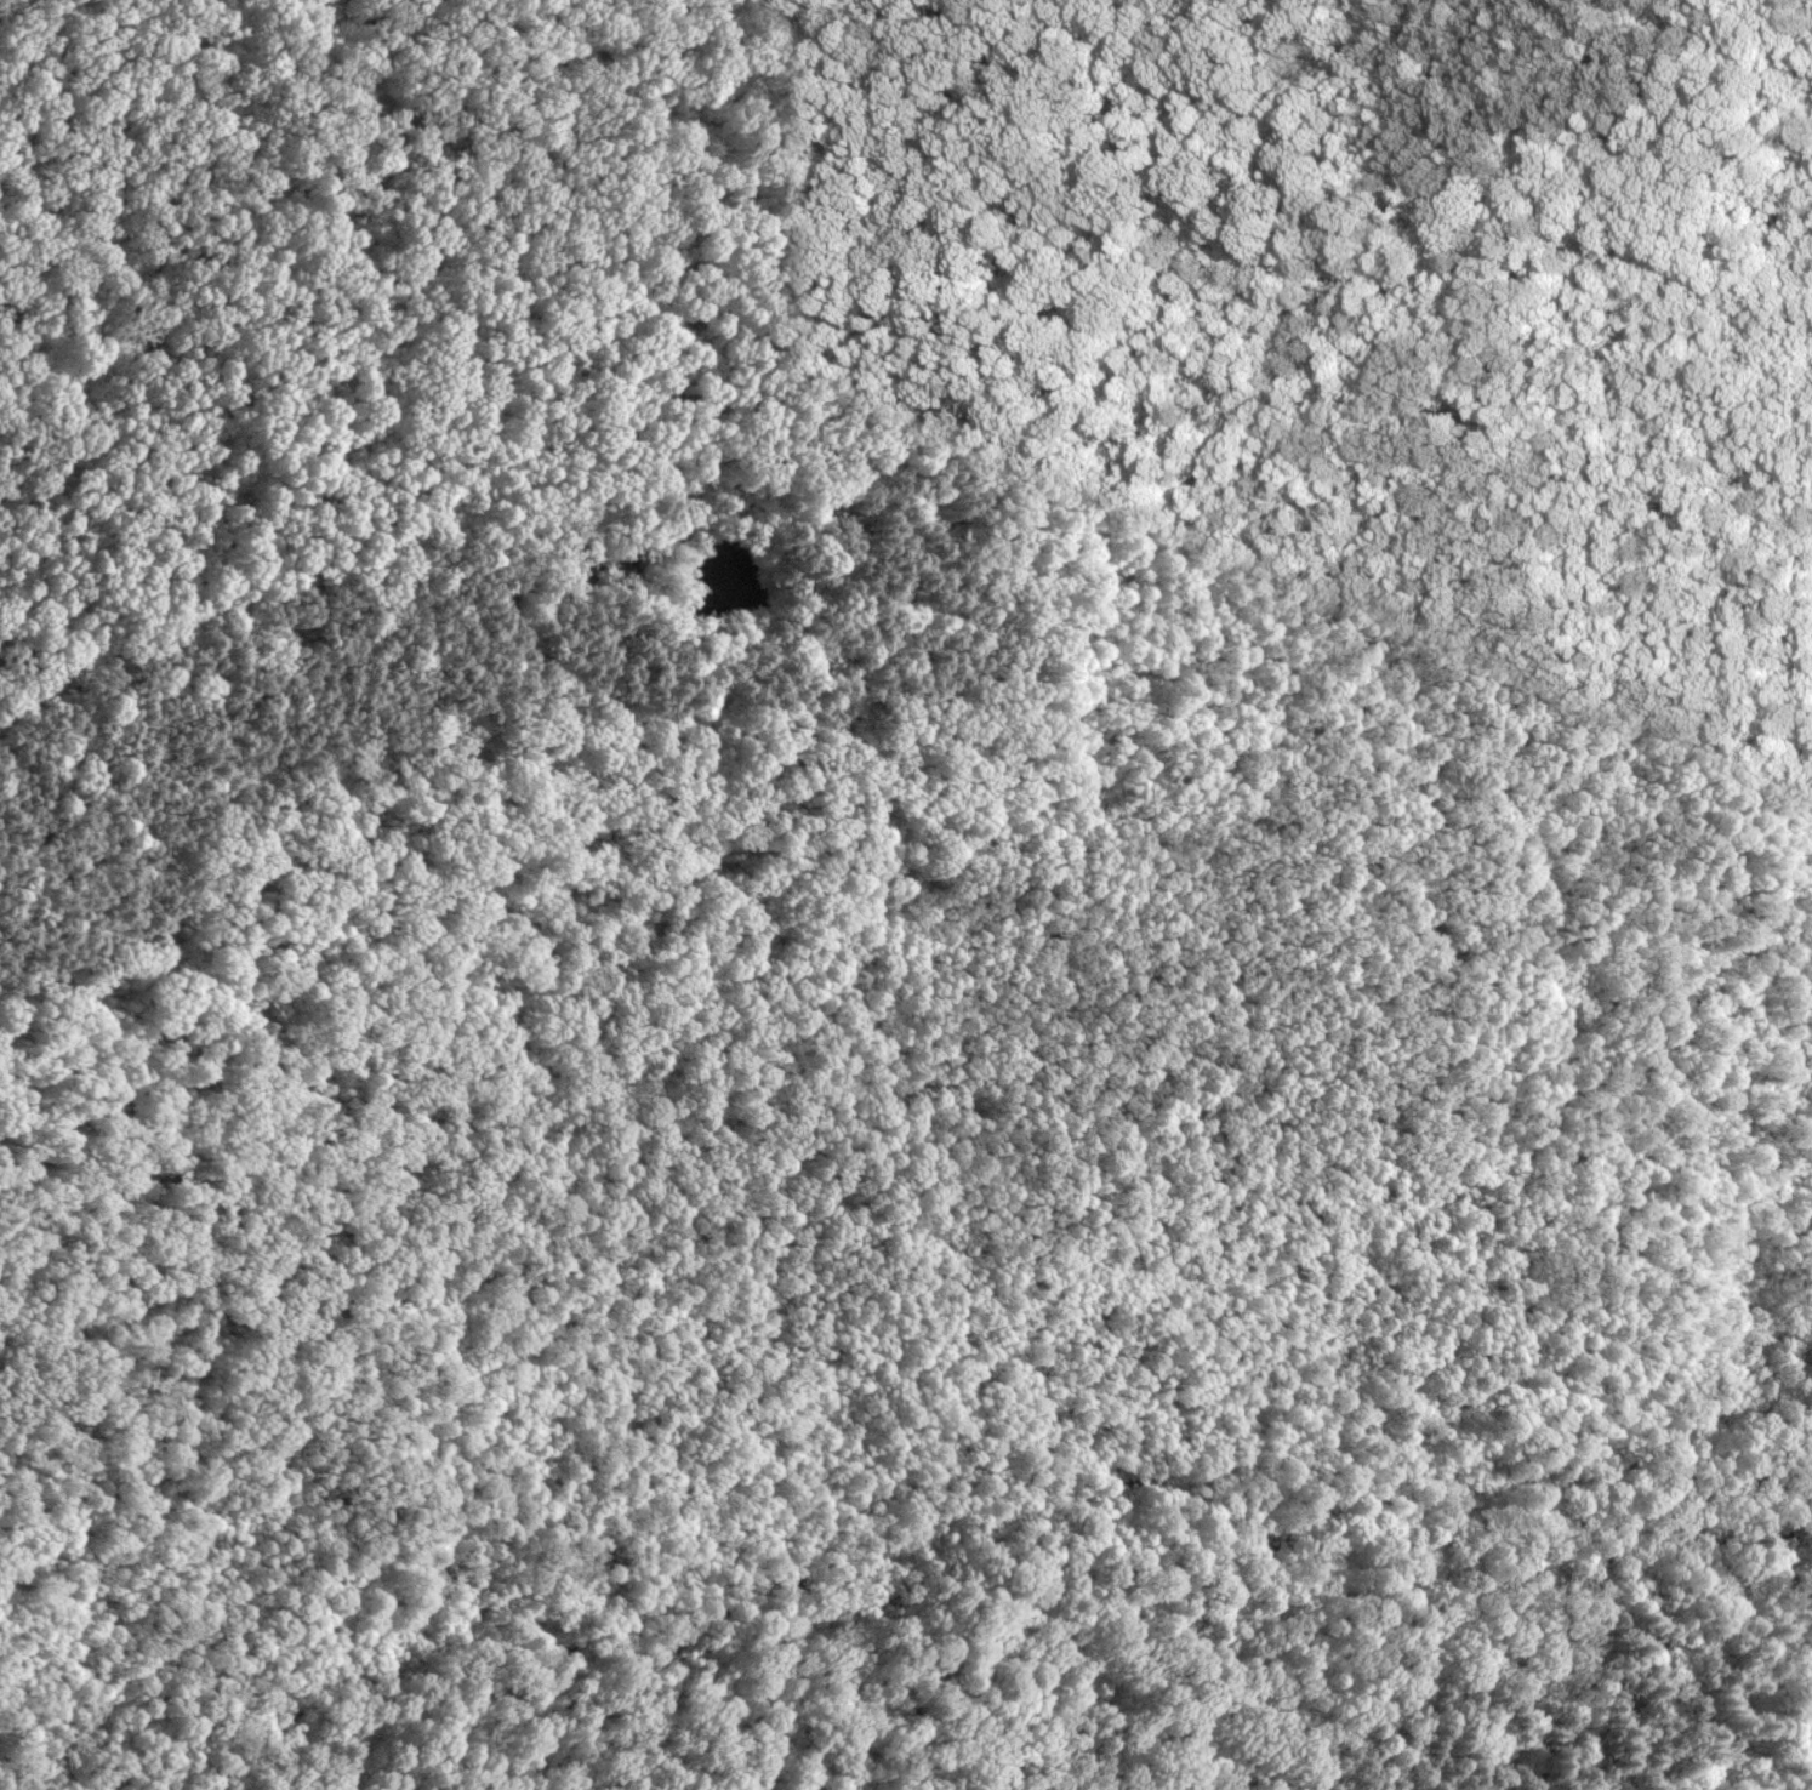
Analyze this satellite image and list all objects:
road: (1674, 1487)

